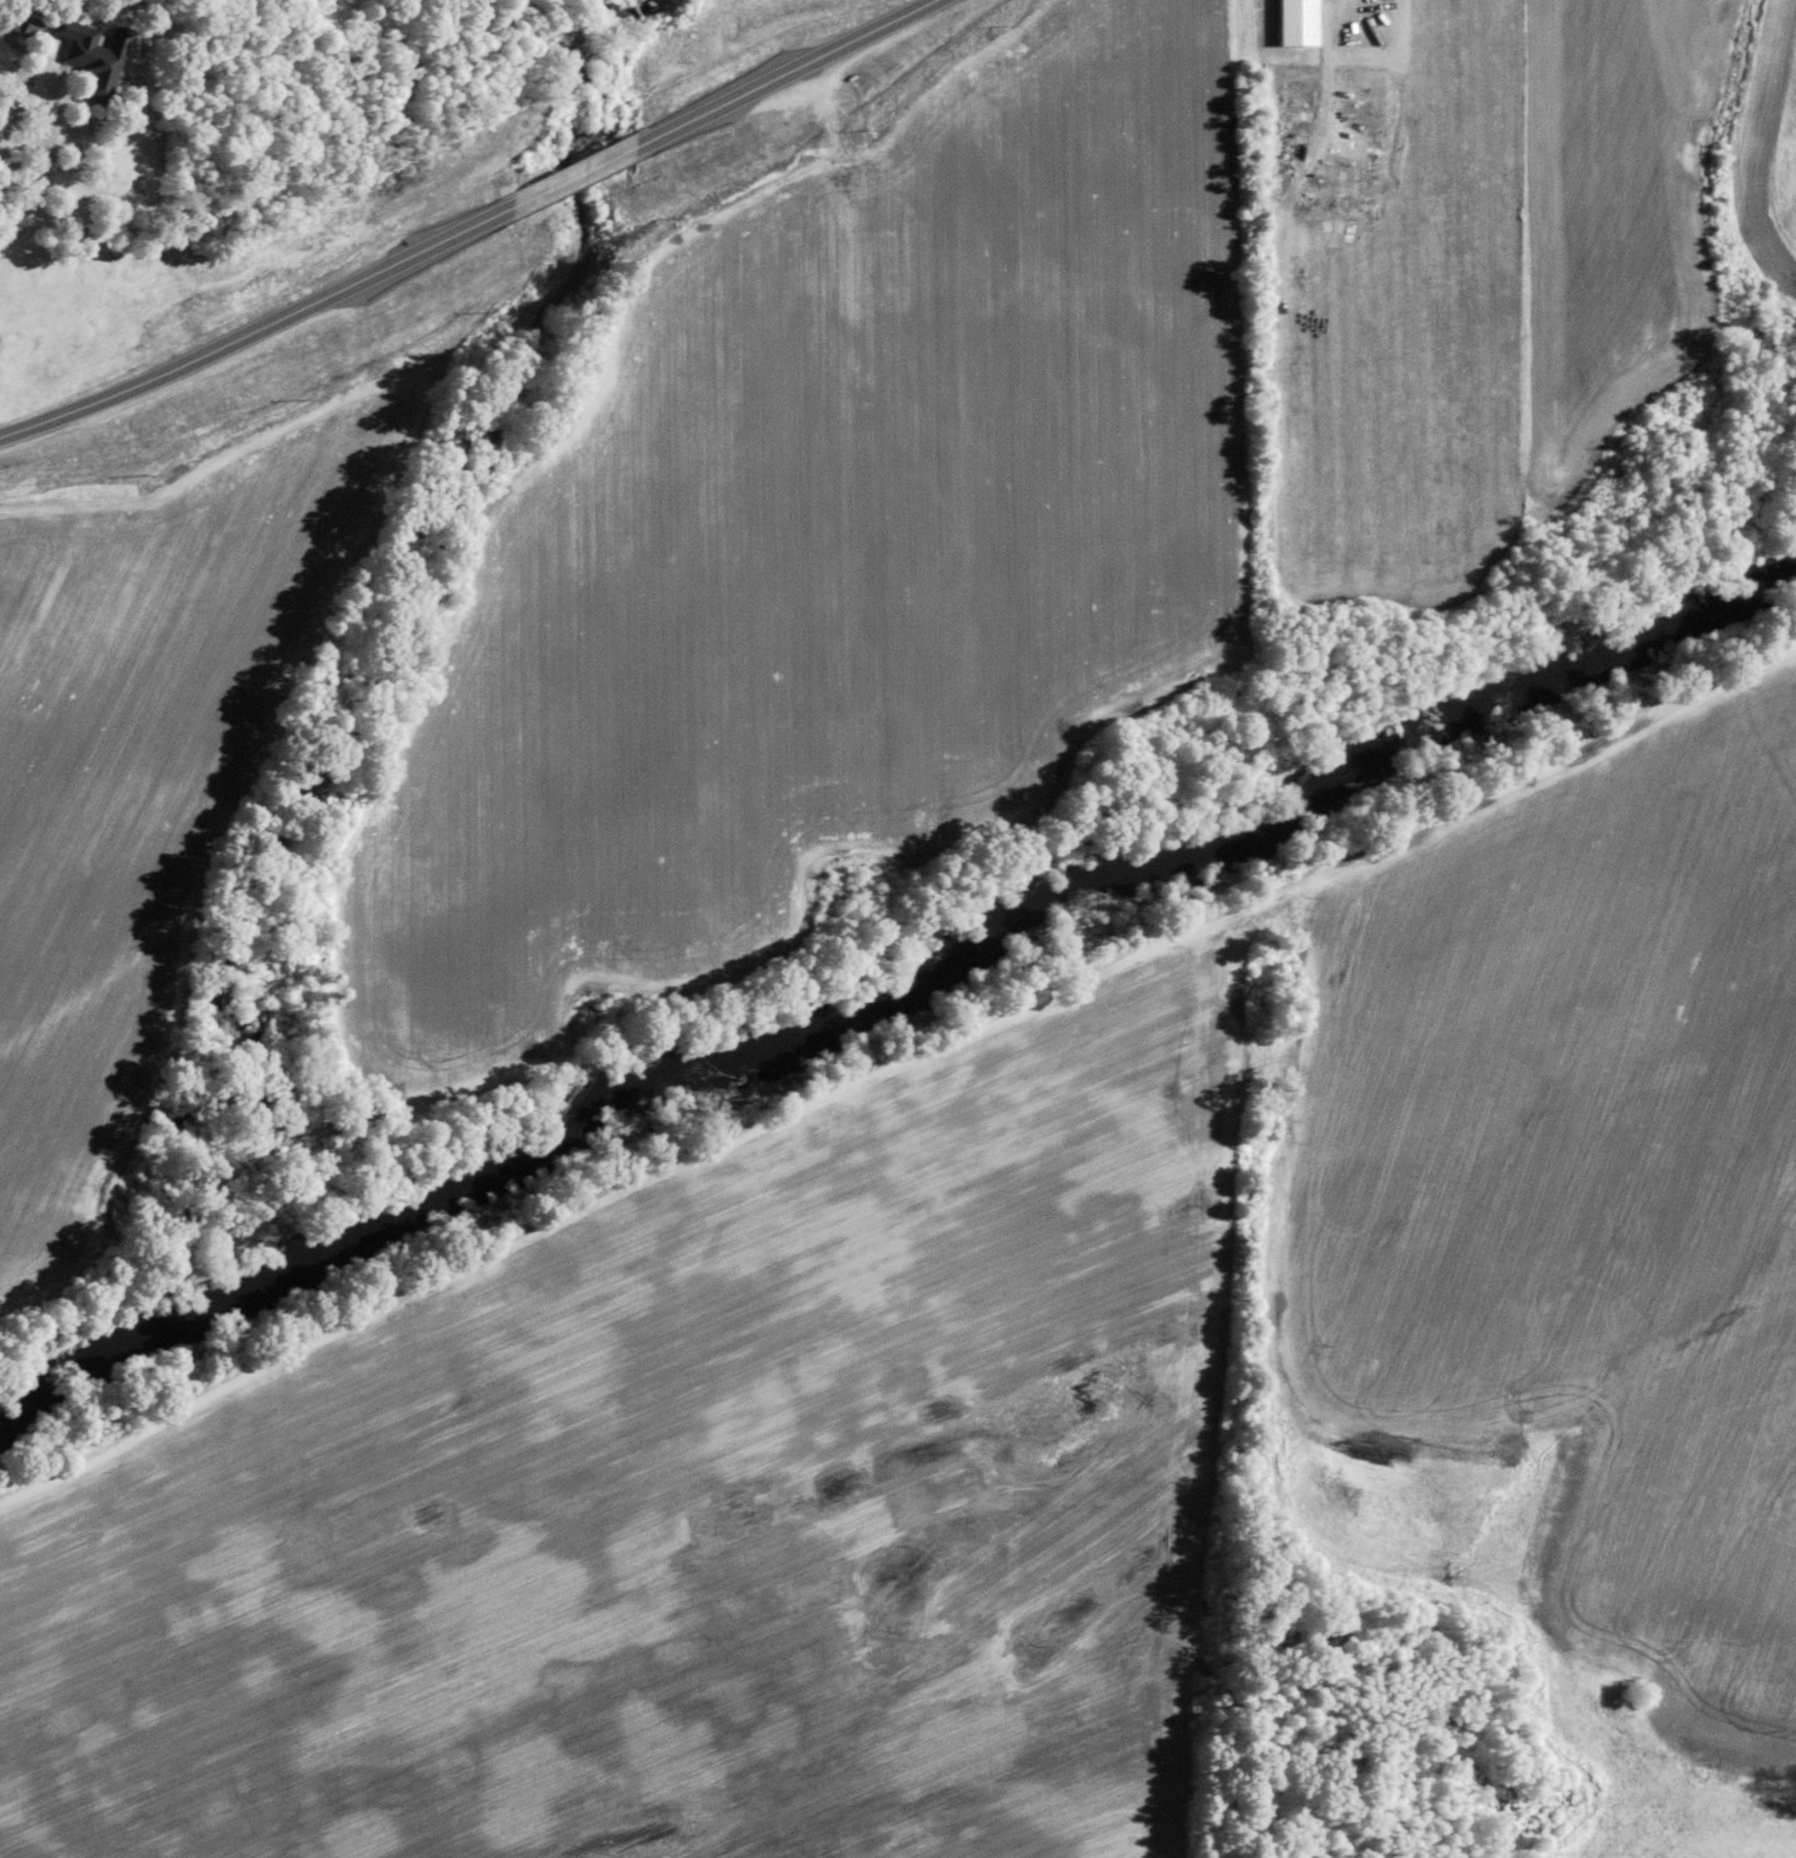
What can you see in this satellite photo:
road: (1325, 11)
building: (30, 23)
building: (92, 55)
road: (796, 109)
road: (35, 141)
road: (581, 226)
road: (283, 368)
river: (898, 981)

